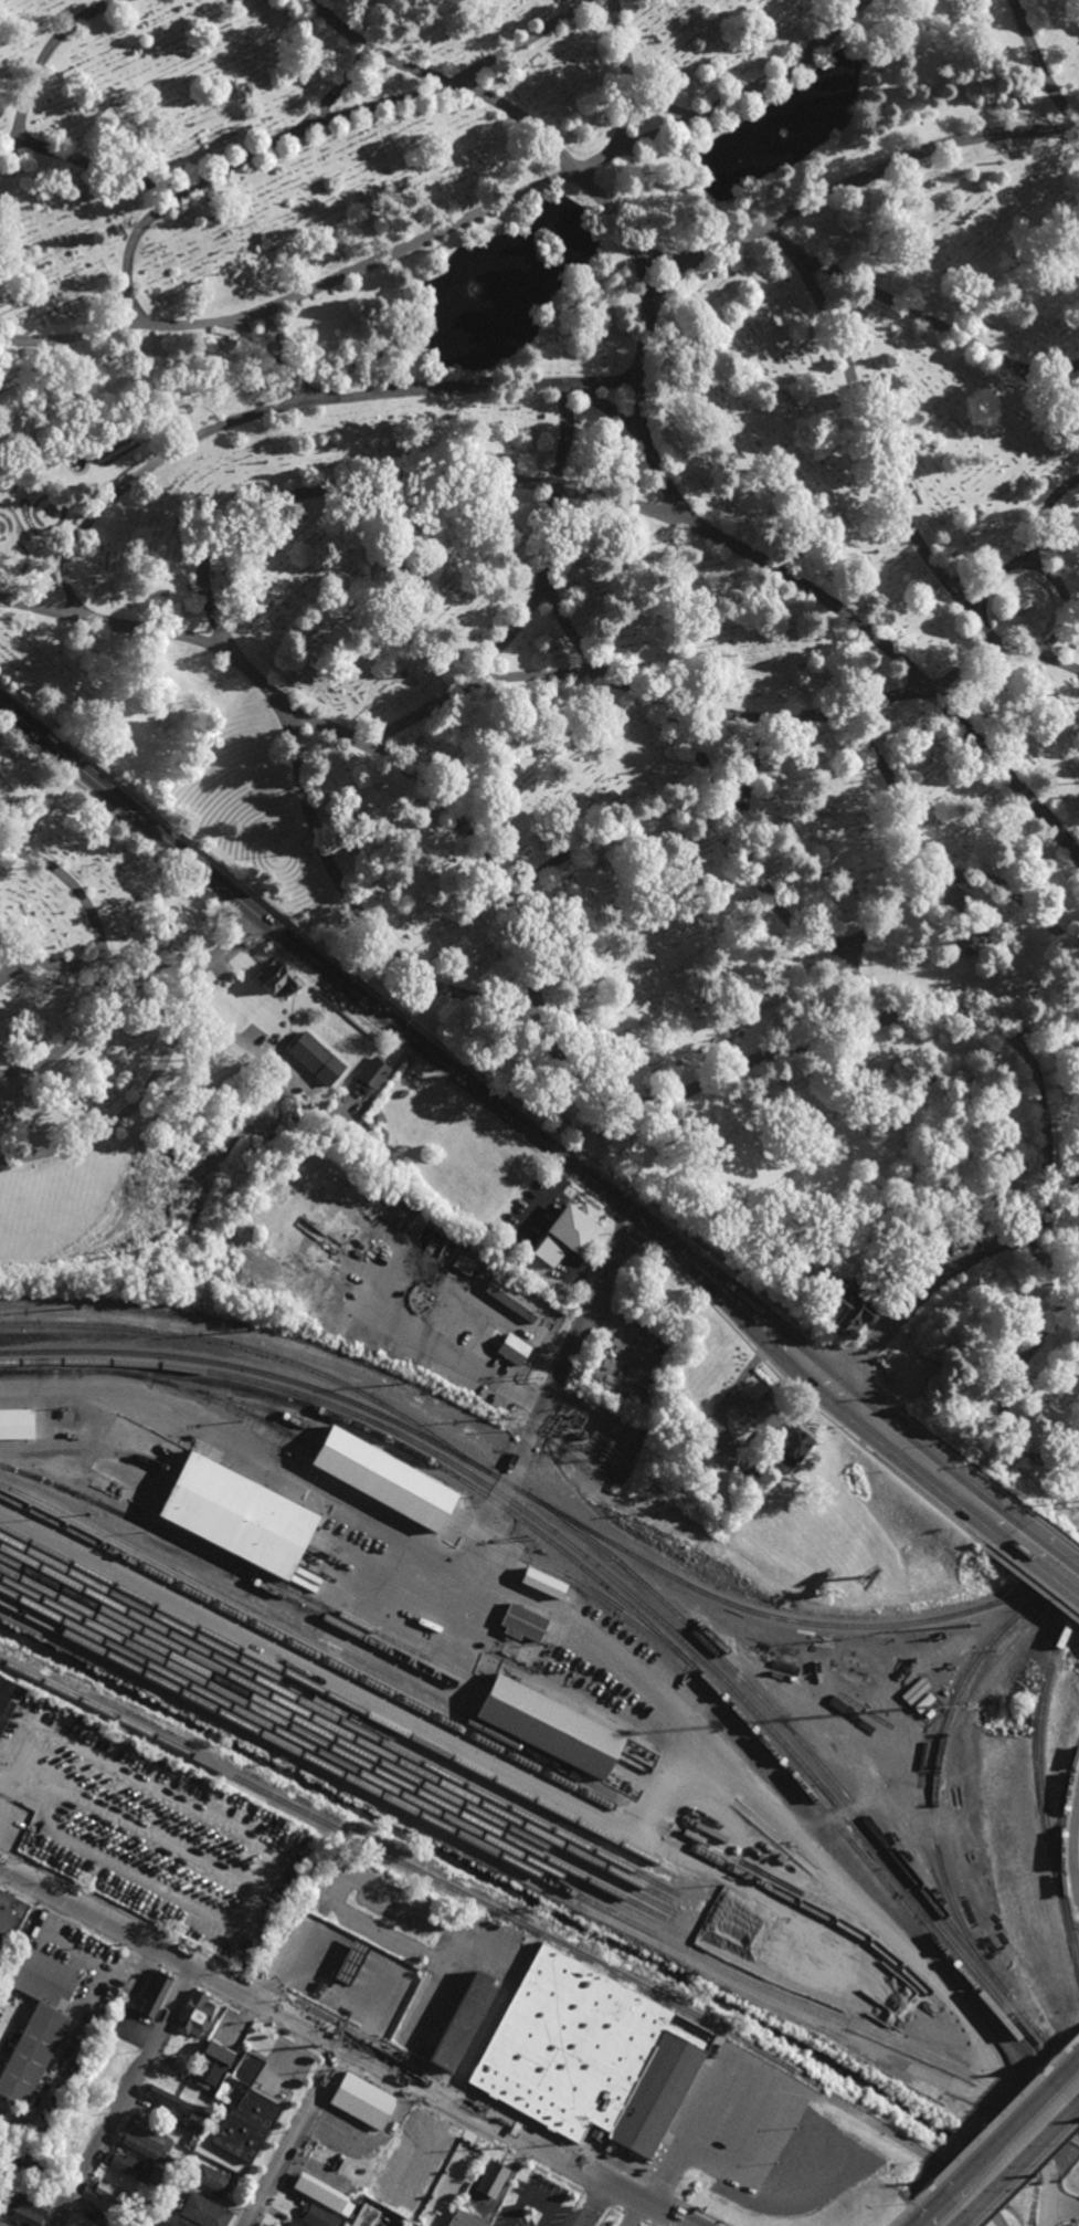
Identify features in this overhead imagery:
road: (43, 59)
road: (1037, 66)
road: (632, 74)
road: (341, 87)
building: (984, 95)
road: (663, 101)
road: (328, 119)
fountain: (740, 160)
road: (96, 168)
road: (854, 181)
road: (453, 225)
road: (671, 282)
fountain: (477, 287)
road: (120, 313)
road: (138, 313)
road: (919, 318)
road: (273, 327)
road: (275, 351)
road: (1048, 370)
road: (299, 406)
road: (611, 410)
road: (643, 438)
road: (870, 445)
road: (384, 481)
road: (1045, 515)
park: (607, 581)
road: (965, 584)
road: (36, 607)
road: (1064, 620)
road: (1056, 660)
road: (963, 664)
road: (470, 676)
road: (621, 681)
park: (258, 816)
road: (655, 818)
road: (117, 819)
road: (747, 843)
flagpole: (277, 855)
road: (897, 860)
road: (998, 889)
road: (364, 916)
road: (252, 928)
building: (970, 941)
road: (101, 964)
road: (136, 965)
road: (9, 974)
building: (278, 975)
road: (384, 1016)
road: (1038, 1025)
park: (134, 1032)
road: (552, 1039)
road: (411, 1054)
building: (317, 1057)
building: (372, 1073)
road: (142, 1105)
road: (564, 1175)
road: (591, 1194)
traffic signals: (638, 1214)
road: (627, 1224)
building: (567, 1231)
road: (670, 1242)
road: (653, 1248)
building: (462, 1263)
parking lot: (940, 1263)
road: (946, 1269)
road: (395, 1285)
road: (757, 1291)
building: (512, 1299)
road: (707, 1302)
building: (855, 1303)
road: (583, 1329)
road: (559, 1347)
building: (511, 1348)
railway: (257, 1353)
road: (758, 1357)
road: (855, 1372)
railway: (276, 1376)
road: (531, 1401)
road: (892, 1427)
power substation: (599, 1435)
road: (237, 1445)
building: (794, 1446)
road: (874, 1455)
road: (961, 1455)
railway: (353, 1470)
building: (753, 1471)
building: (384, 1480)
road: (496, 1503)
power tower: (680, 1509)
building: (237, 1516)
road: (1059, 1531)
railway: (506, 1540)
road: (1046, 1554)
railway: (601, 1572)
building: (536, 1582)
railway: (596, 1582)
road: (1033, 1584)
railway: (794, 1623)
building: (522, 1624)
power tower: (972, 1625)
power tower: (843, 1640)
railway: (401, 1645)
railway: (290, 1686)
road: (363, 1694)
railway: (415, 1694)
building: (8, 1697)
railway: (482, 1698)
railway: (356, 1711)
building: (548, 1726)
railway: (352, 1728)
railway: (350, 1736)
railway: (348, 1747)
railway: (939, 1751)
railway: (810, 1752)
railway: (346, 1756)
railway: (517, 1757)
railway: (343, 1765)
road: (742, 1781)
road: (13, 1782)
railway: (1038, 1785)
road: (0, 1834)
railway: (1060, 1837)
road: (1069, 1845)
railway: (485, 1849)
railway: (415, 1871)
road: (361, 1884)
road: (129, 1914)
building: (9, 1918)
road: (88, 1930)
gas station: (352, 1960)
building: (350, 1962)
road: (186, 1981)
building: (320, 1985)
road: (271, 1988)
building: (154, 1992)
building: (194, 2014)
building: (36, 2015)
road: (321, 2015)
road: (258, 2019)
building: (464, 2020)
road: (478, 2037)
road: (371, 2040)
road: (343, 2045)
building: (193, 2050)
building: (589, 2054)
road: (1060, 2056)
road: (335, 2060)
building: (180, 2065)
building: (211, 2065)
road: (1066, 2070)
building: (172, 2083)
road: (712, 2083)
road: (124, 2094)
building: (162, 2096)
building: (362, 2100)
road: (1027, 2103)
road: (1075, 2107)
building: (244, 2110)
road: (512, 2115)
building: (194, 2121)
road: (463, 2129)
road: (987, 2131)
road: (292, 2134)
building: (192, 2139)
road: (278, 2140)
road: (998, 2140)
building: (146, 2141)
building: (186, 2145)
road: (303, 2146)
building: (218, 2152)
road: (922, 2152)
building: (170, 2161)
road: (1019, 2164)
building: (130, 2165)
building: (40, 2167)
road: (1028, 2175)
building: (494, 2177)
building: (212, 2178)
road: (658, 2192)
building: (110, 2193)
building: (324, 2194)
road: (1048, 2198)
road: (596, 2199)
building: (29, 2203)
road: (597, 2206)
road: (912, 2206)
road: (930, 2211)
building: (205, 2212)
road: (1064, 2212)
road: (699, 2213)
building: (21, 2214)
building: (318, 2216)
building: (364, 2216)
road: (630, 2217)
building: (466, 2219)
building: (173, 2222)
road: (962, 2222)
building: (294, 2223)
building: (283, 2225)

